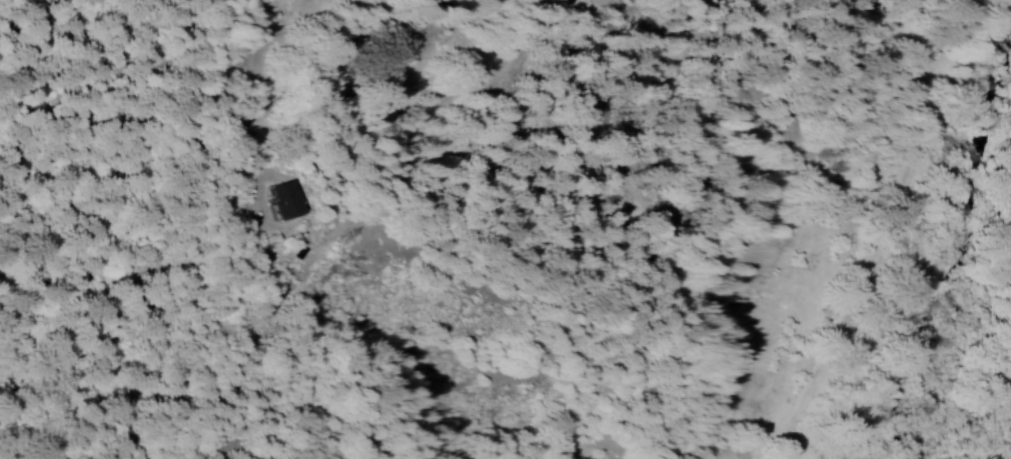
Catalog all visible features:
building: (285, 201)
road: (257, 238)
road: (876, 272)
river: (963, 291)
road: (785, 448)

